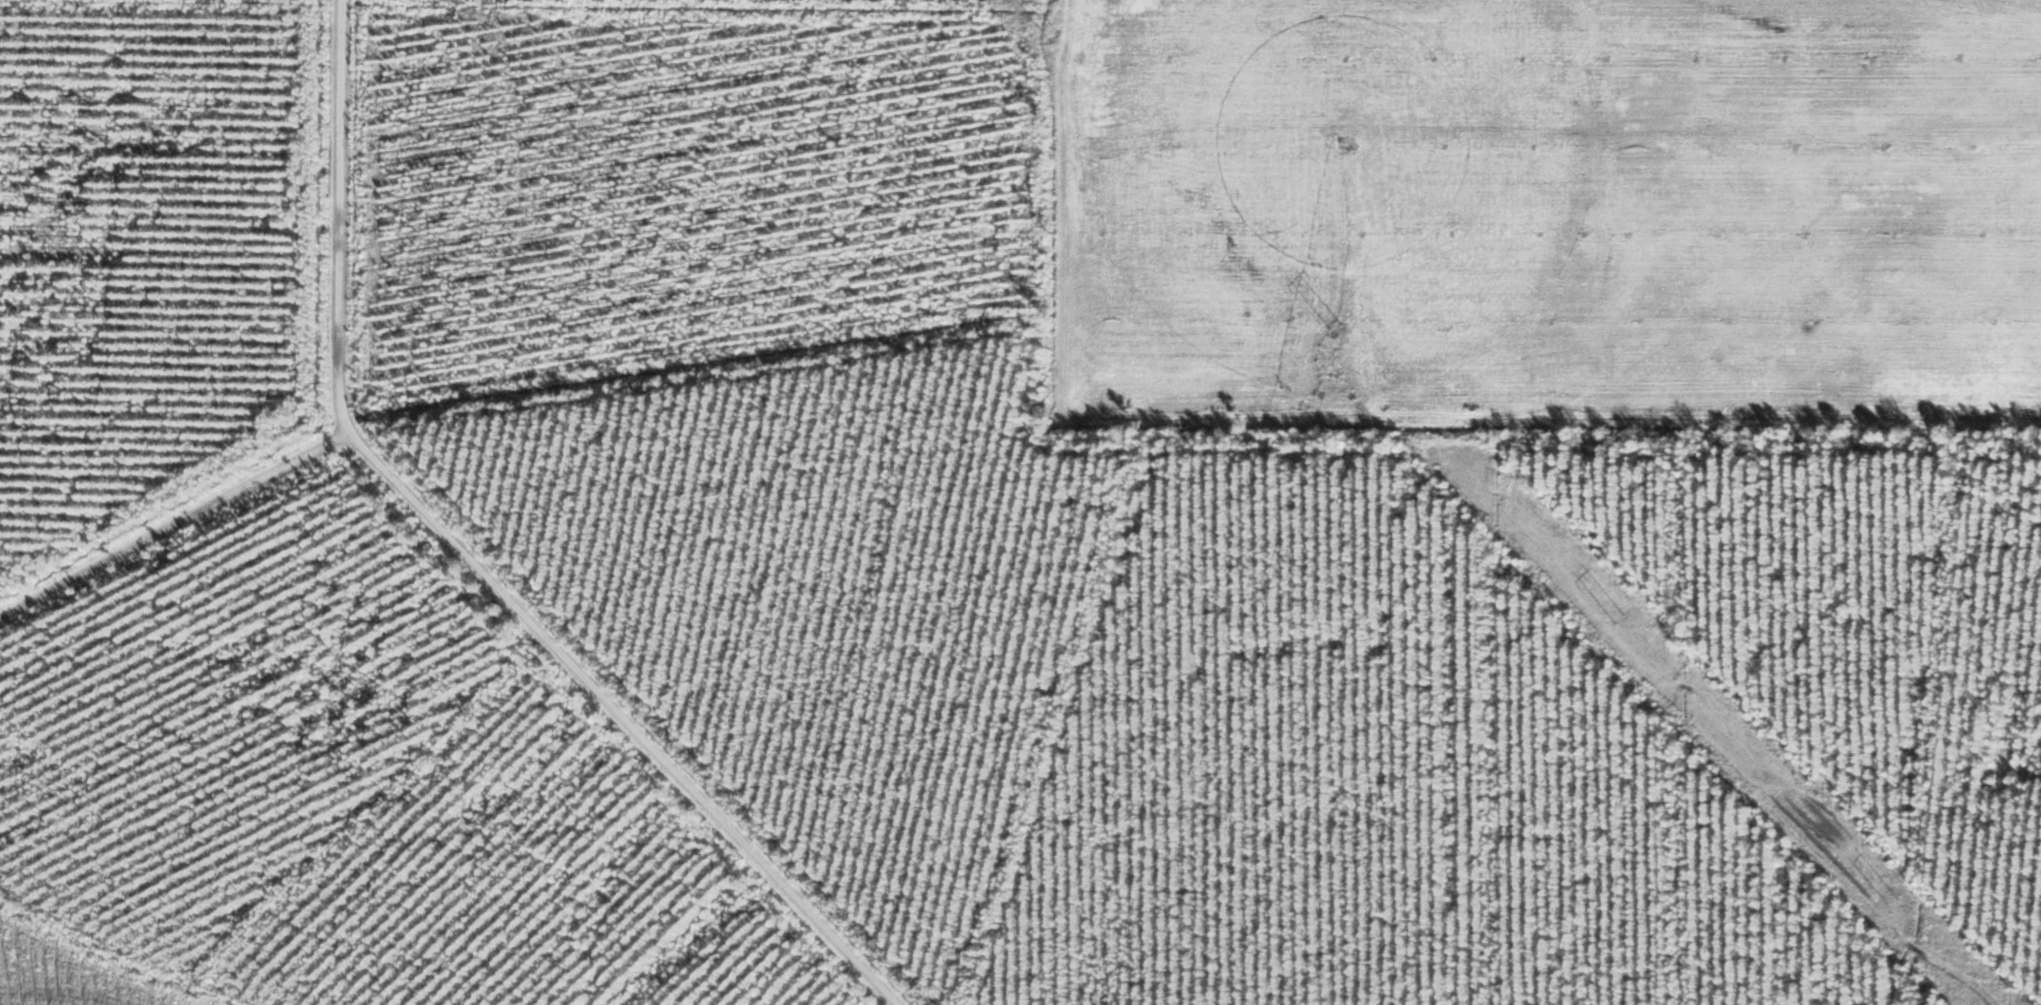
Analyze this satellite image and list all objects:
power tower: (1056, 38)
road: (1834, 200)
power tower: (1342, 330)
road: (593, 552)
power tower: (1619, 618)
power tower: (1893, 902)

